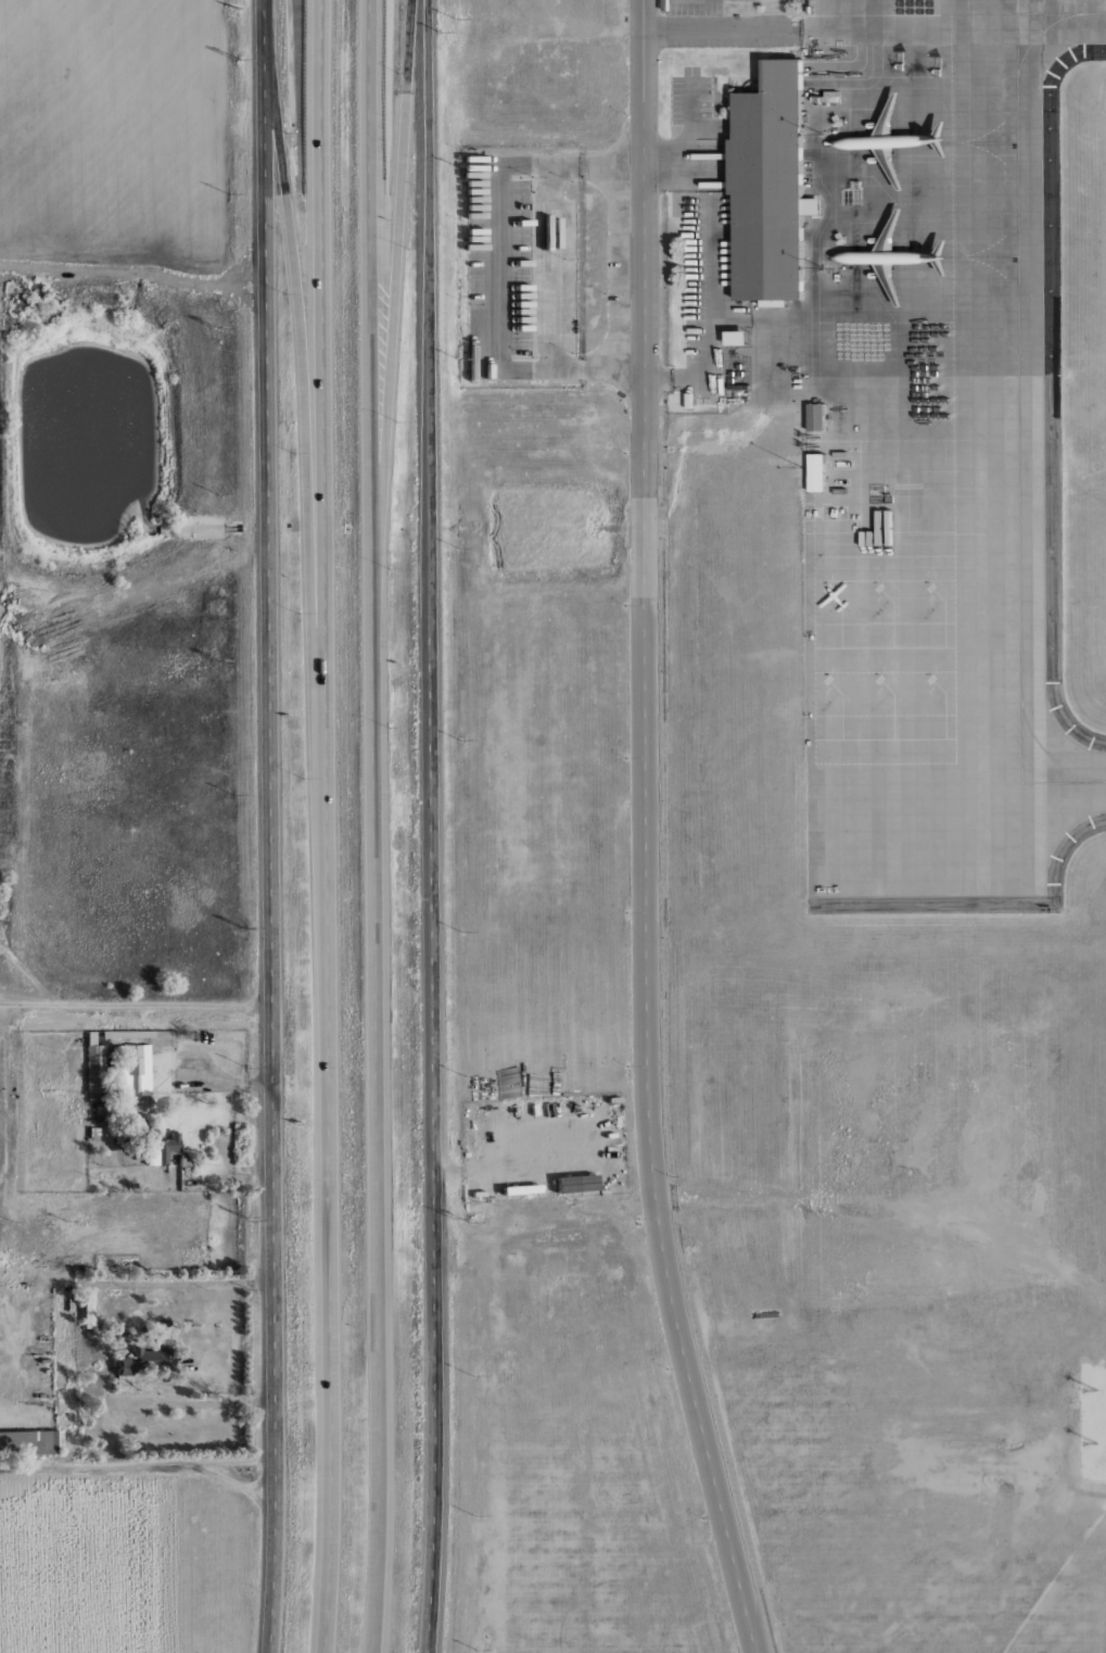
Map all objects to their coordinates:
airport taxiway: (1072, 13)
airport taxiway: (1016, 17)
road: (722, 28)
road: (689, 121)
airport taxiway: (1013, 127)
road: (612, 164)
road: (665, 164)
building: (772, 187)
road: (499, 265)
road: (136, 270)
road: (710, 302)
road: (393, 305)
building: (736, 338)
road: (301, 365)
road: (612, 367)
road: (657, 381)
building: (815, 417)
airport taxiway: (1018, 441)
airport apron: (923, 449)
building: (816, 472)
airport taxiway: (928, 617)
airport taxiway: (928, 714)
airport: (867, 761)
airport taxiway: (1075, 782)
road: (268, 826)
road: (325, 826)
road: (371, 826)
road: (431, 826)
road: (644, 832)
road: (135, 1002)
building: (92, 1068)
building: (131, 1071)
building: (97, 1108)
building: (165, 1147)
building: (573, 1184)
building: (517, 1189)
building: (476, 1193)
road: (664, 1197)
road: (899, 1213)
building: (84, 1310)
building: (120, 1334)
building: (154, 1355)
building: (118, 1366)
building: (120, 1383)
road: (195, 1402)
building: (26, 1442)
road: (138, 1468)
road: (167, 1560)

